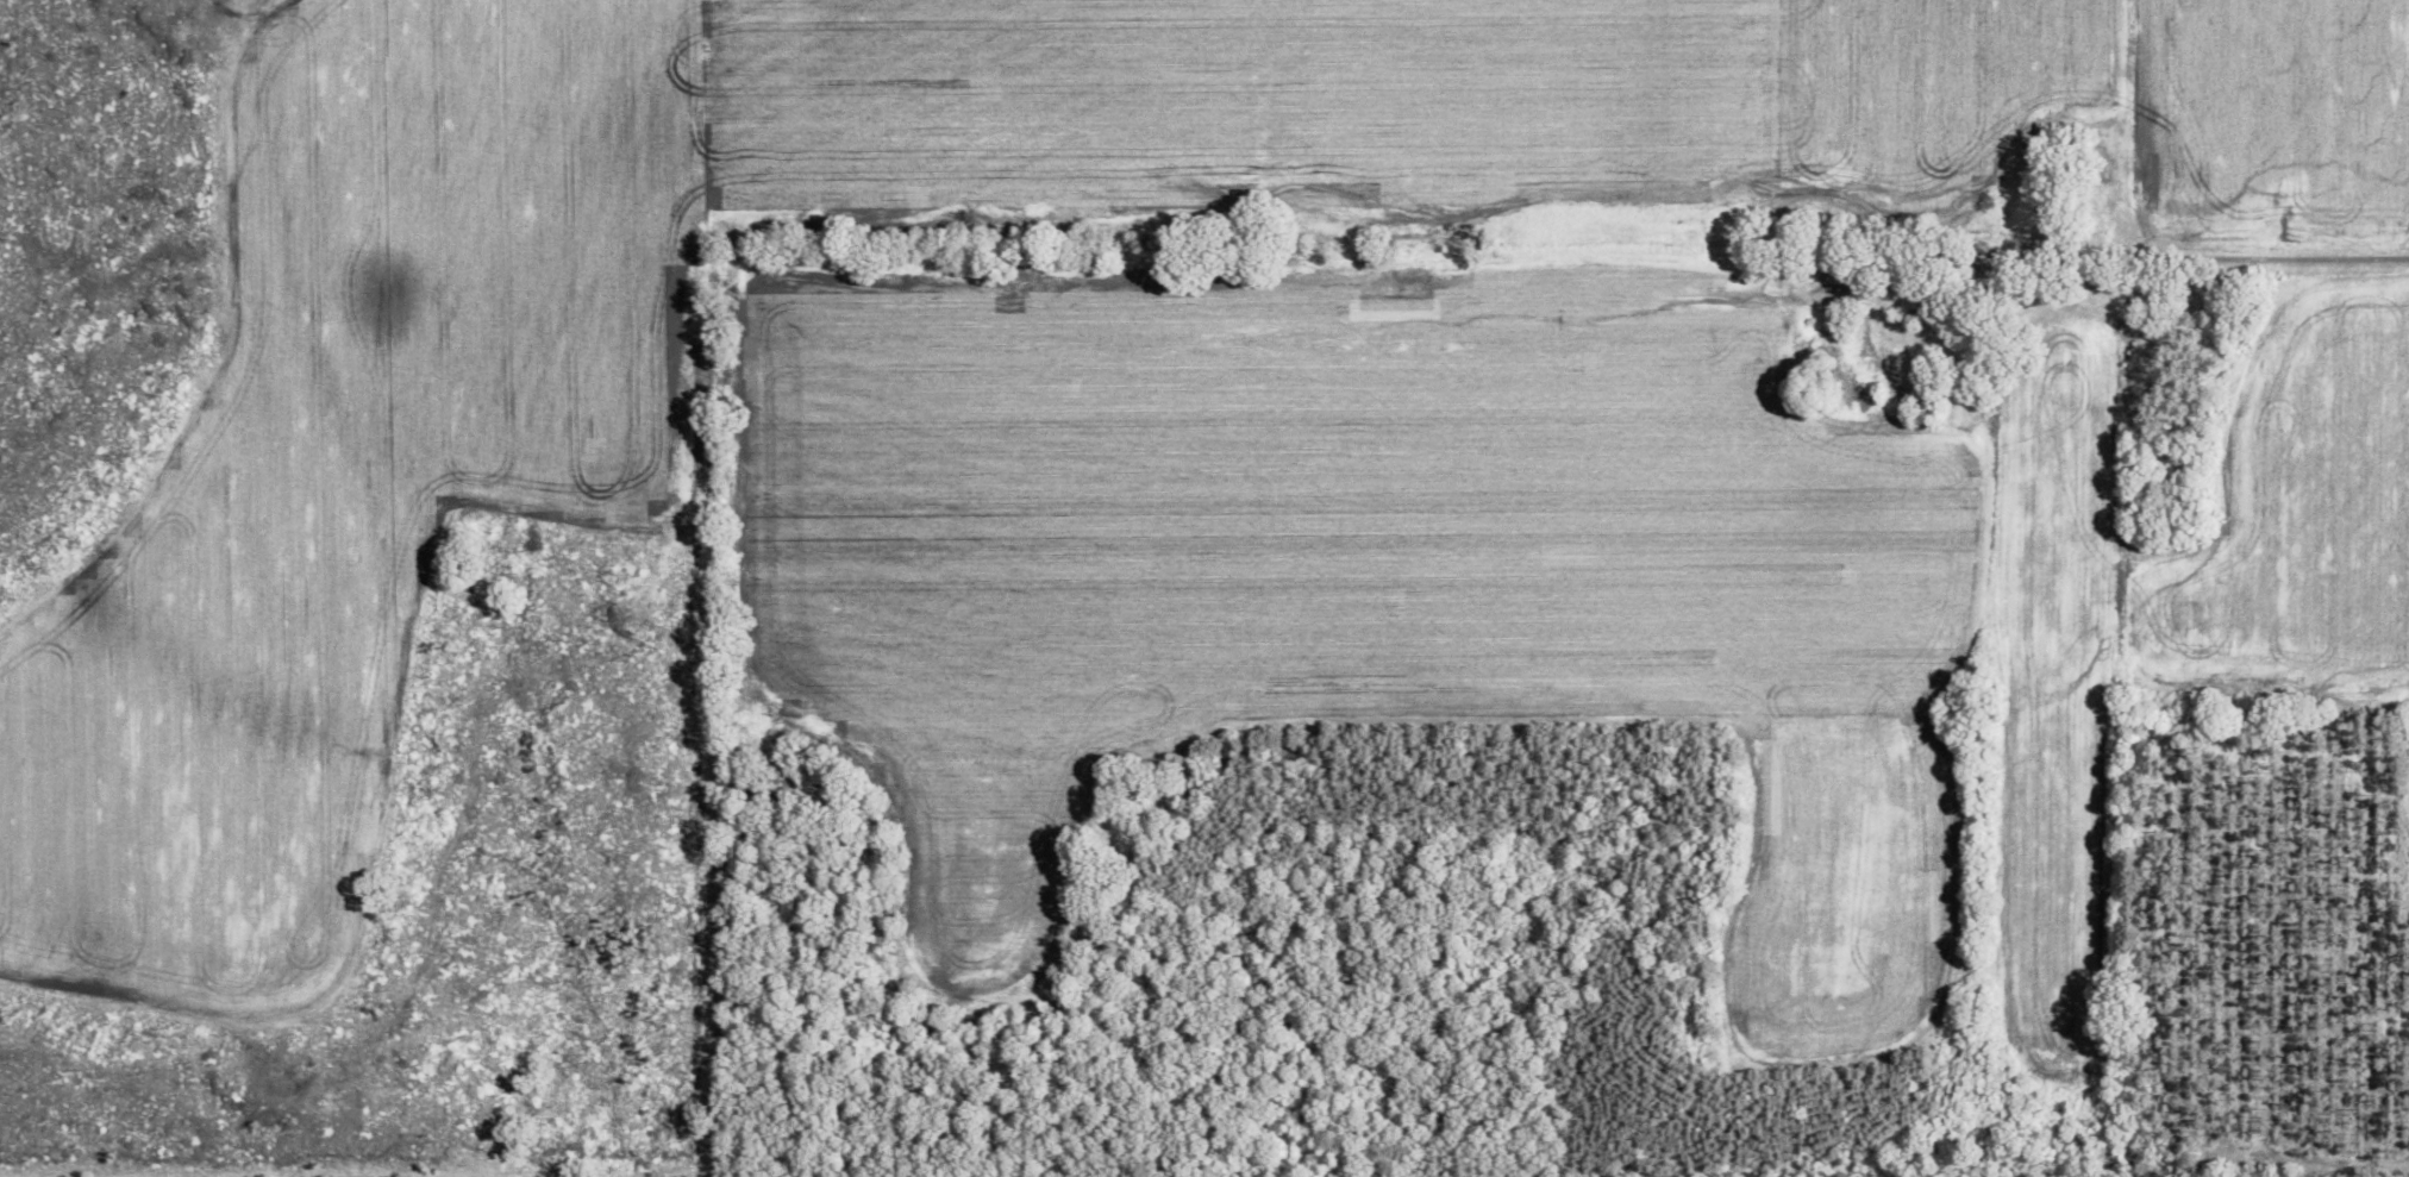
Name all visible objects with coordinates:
road: (2195, 258)

